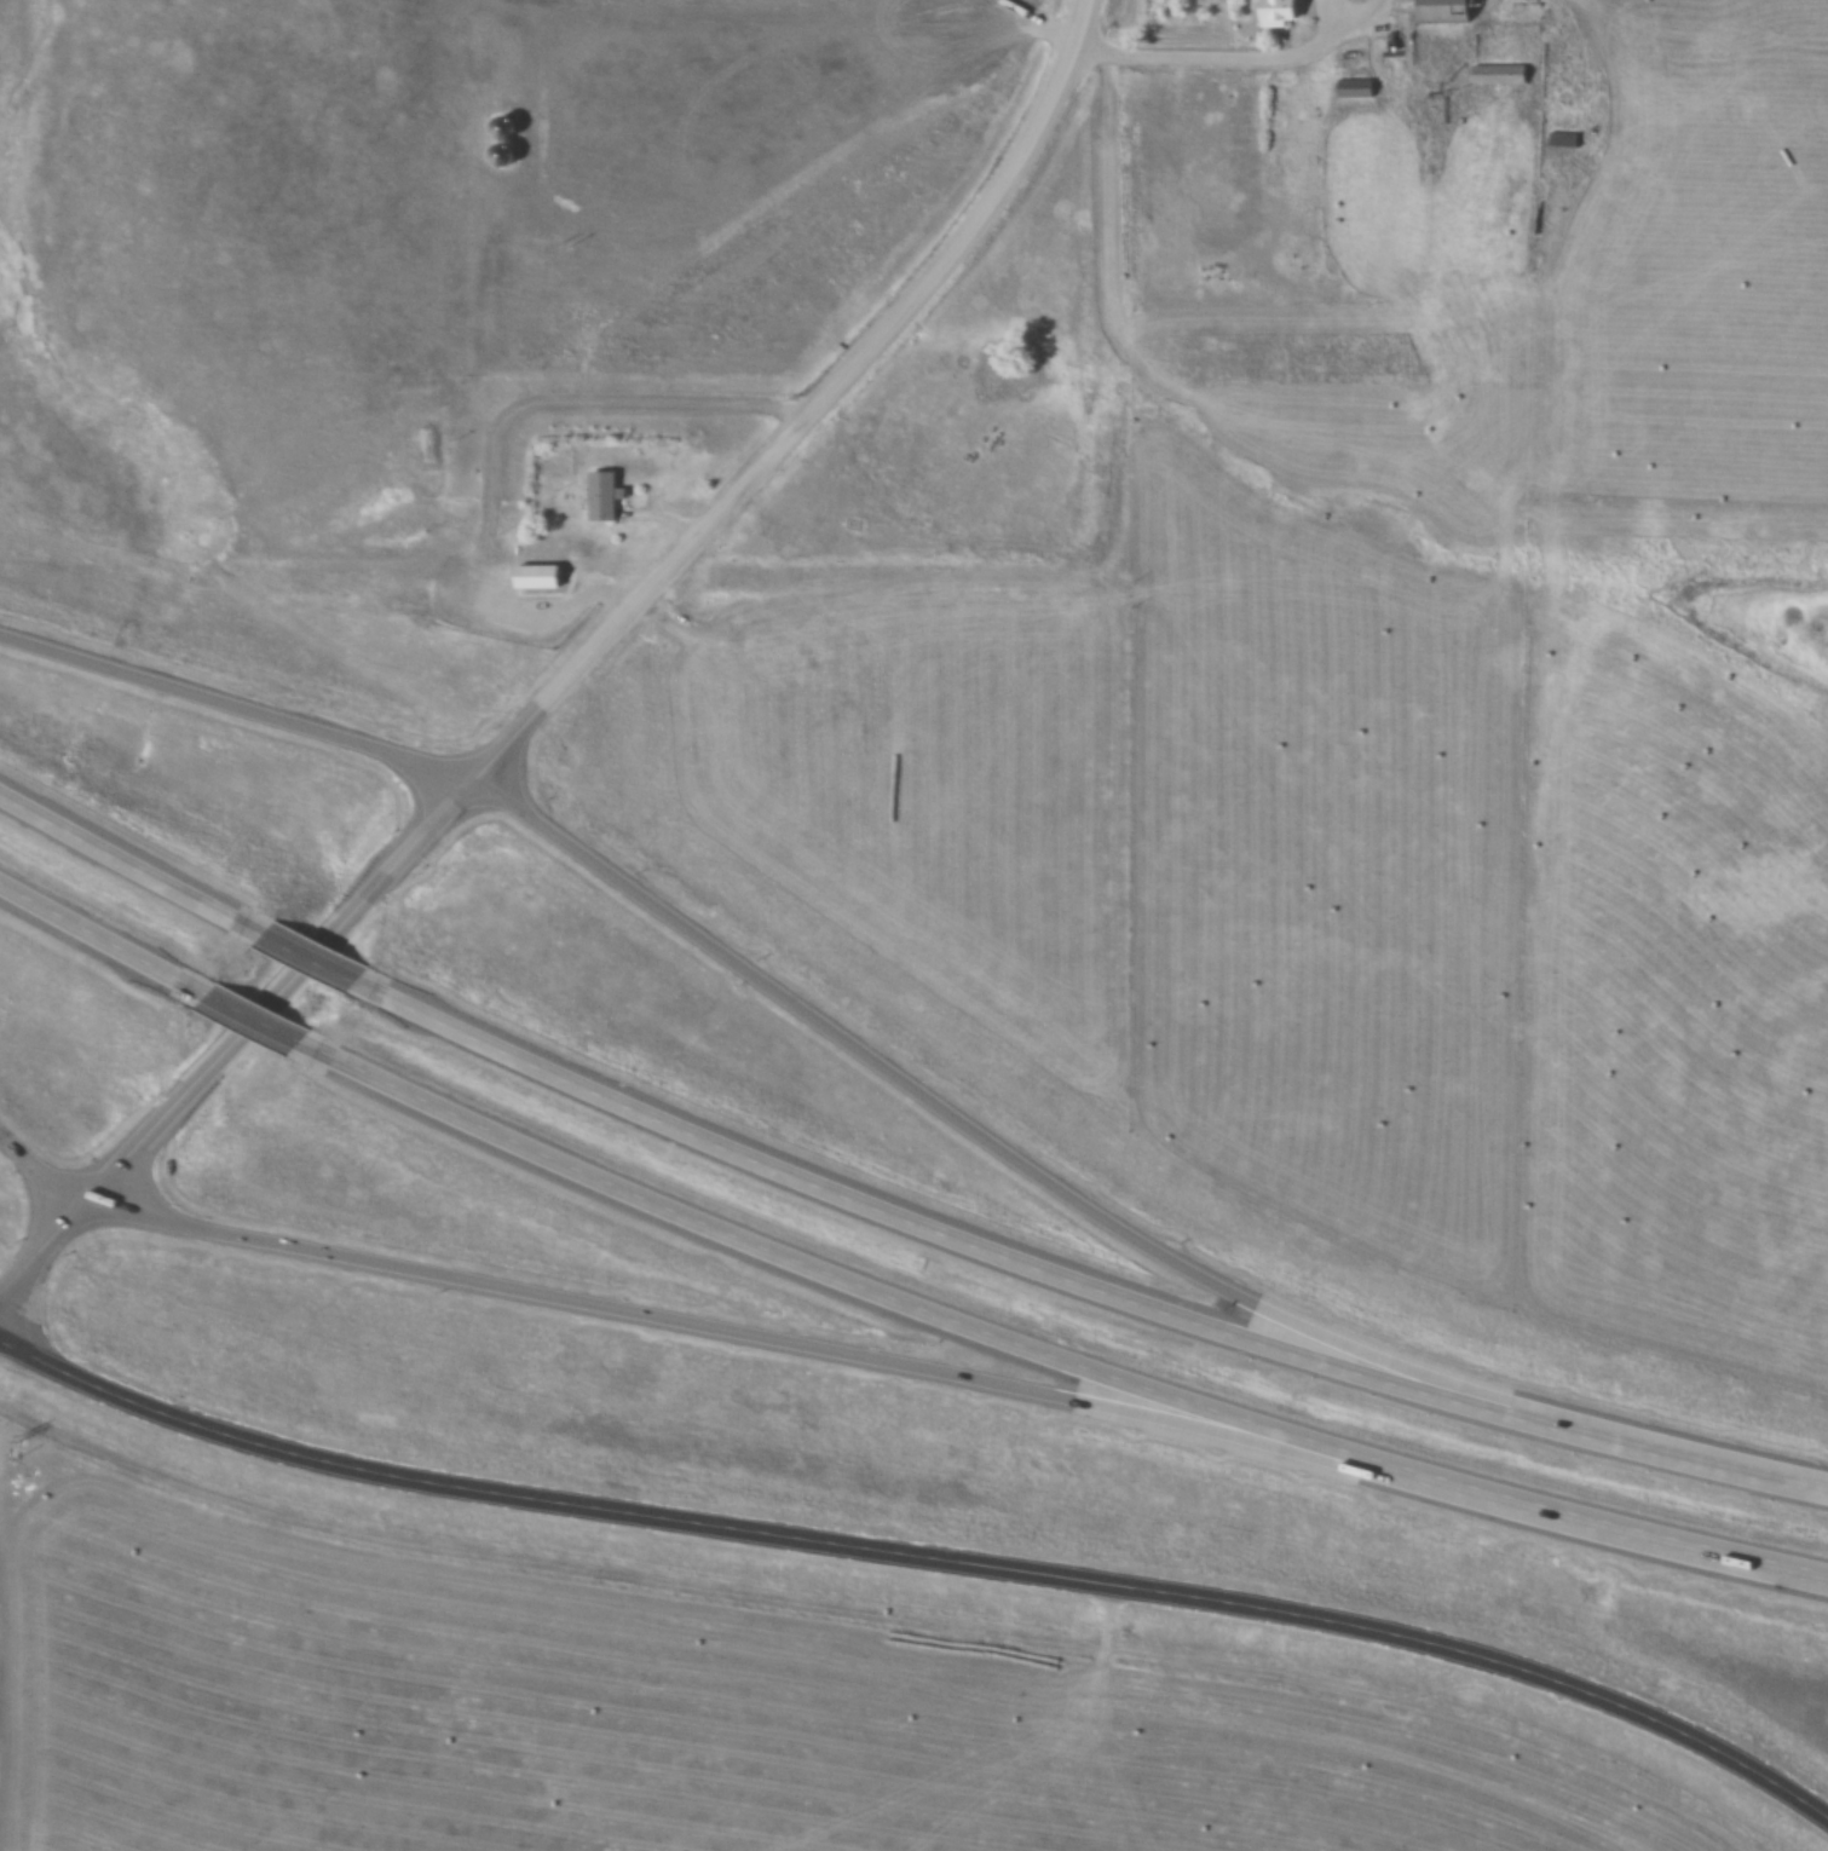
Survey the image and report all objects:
building: (1446, 10)
building: (1279, 12)
road: (1046, 29)
road: (1241, 64)
building: (1501, 74)
building: (1359, 87)
building: (1565, 139)
road: (847, 385)
road: (503, 442)
building: (602, 497)
building: (538, 578)
road: (240, 713)
road: (507, 759)
road: (131, 867)
road: (103, 944)
road: (310, 961)
road: (254, 1025)
road: (238, 1045)
road: (1038, 1178)
road: (1076, 1288)
road: (790, 1348)
road: (1049, 1357)
road: (921, 1565)

